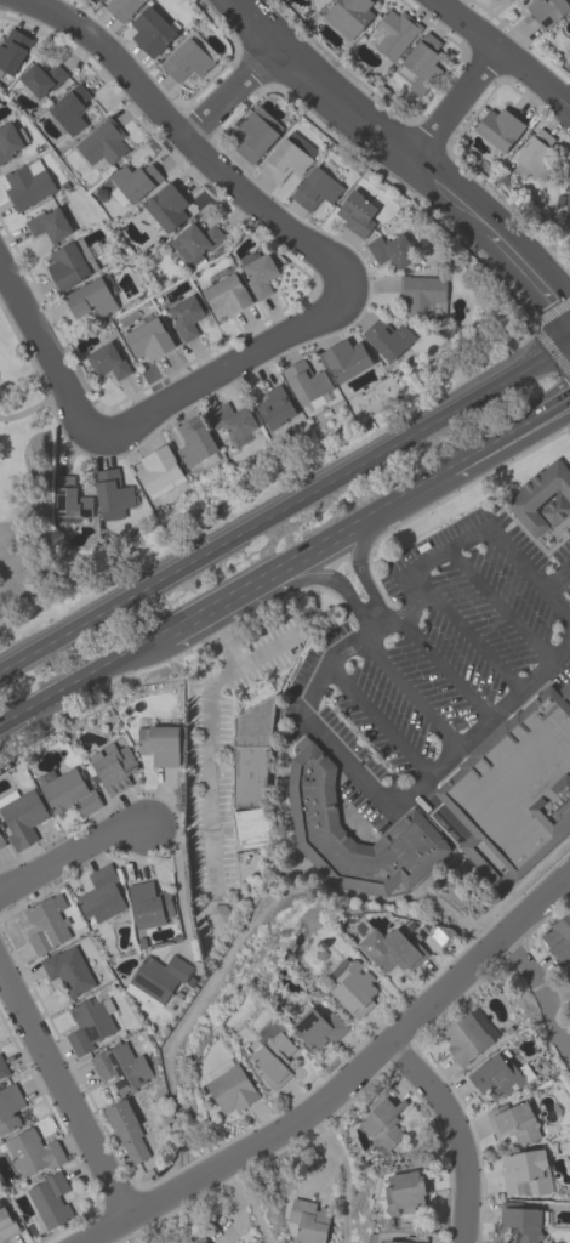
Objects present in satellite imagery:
building: (121, 7)
building: (546, 11)
building: (348, 16)
building: (152, 30)
building: (394, 32)
building: (569, 49)
building: (12, 50)
road: (506, 51)
building: (184, 61)
building: (420, 63)
building: (39, 79)
road: (229, 91)
road: (460, 103)
building: (68, 108)
building: (497, 127)
building: (255, 132)
road: (182, 137)
building: (10, 140)
building: (103, 142)
road: (409, 152)
building: (535, 155)
building: (287, 157)
building: (133, 180)
building: (27, 183)
building: (315, 188)
building: (566, 204)
building: (165, 206)
building: (357, 212)
building: (49, 223)
building: (195, 243)
building: (391, 250)
building: (69, 263)
building: (258, 274)
building: (226, 294)
building: (422, 294)
building: (92, 296)
road: (549, 311)
building: (184, 314)
building: (148, 337)
building: (386, 337)
road: (549, 348)
road: (46, 356)
building: (344, 359)
building: (107, 361)
road: (228, 368)
building: (306, 385)
building: (273, 407)
road: (34, 409)
building: (230, 419)
road: (507, 424)
building: (193, 441)
building: (158, 471)
road: (405, 486)
building: (110, 494)
park: (27, 496)
building: (542, 498)
building: (69, 500)
road: (286, 507)
road: (312, 541)
road: (449, 549)
road: (358, 566)
road: (529, 574)
road: (555, 575)
road: (326, 579)
road: (418, 581)
road: (201, 606)
road: (500, 606)
road: (221, 635)
road: (473, 641)
road: (441, 665)
road: (73, 680)
building: (564, 689)
road: (410, 691)
road: (313, 693)
road: (378, 720)
road: (480, 728)
road: (209, 734)
building: (159, 743)
building: (112, 767)
building: (251, 773)
building: (514, 789)
building: (69, 793)
building: (313, 815)
building: (21, 816)
building: (1, 841)
road: (73, 863)
building: (99, 893)
building: (148, 903)
building: (46, 924)
building: (558, 937)
building: (389, 949)
building: (68, 970)
building: (569, 972)
building: (155, 978)
building: (353, 986)
road: (535, 994)
building: (89, 1023)
building: (318, 1028)
building: (464, 1038)
building: (272, 1055)
building: (120, 1067)
building: (2, 1069)
building: (495, 1077)
road: (343, 1079)
building: (229, 1086)
building: (8, 1106)
road: (67, 1107)
building: (513, 1122)
building: (382, 1123)
building: (125, 1130)
road: (452, 1135)
building: (32, 1151)
road: (324, 1165)
road: (344, 1168)
building: (524, 1171)
building: (405, 1191)
building: (50, 1199)
road: (245, 1201)
road: (235, 1203)
building: (308, 1220)
building: (520, 1221)
building: (6, 1225)
building: (395, 1238)
building: (204, 1242)

